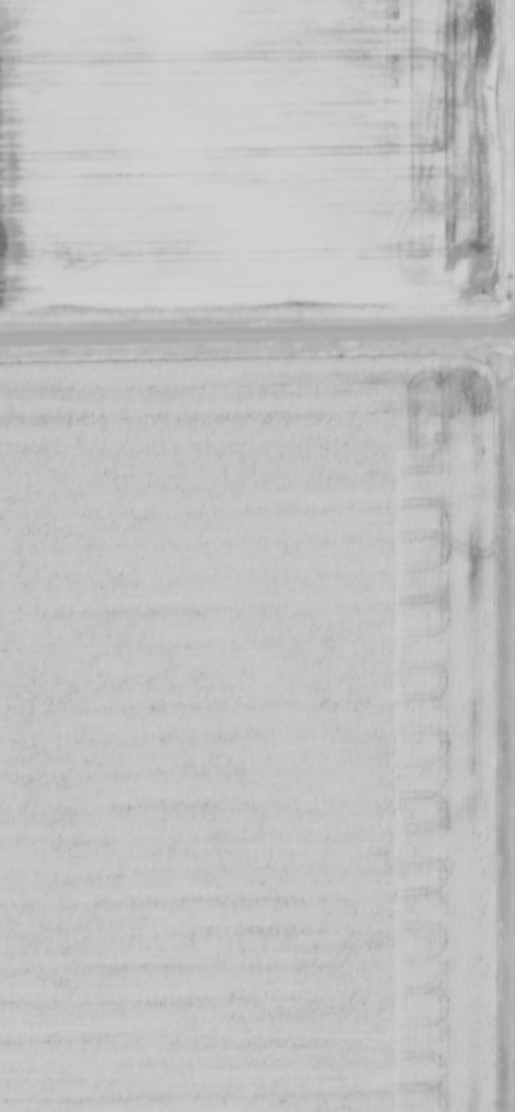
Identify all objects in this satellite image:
road: (257, 337)

